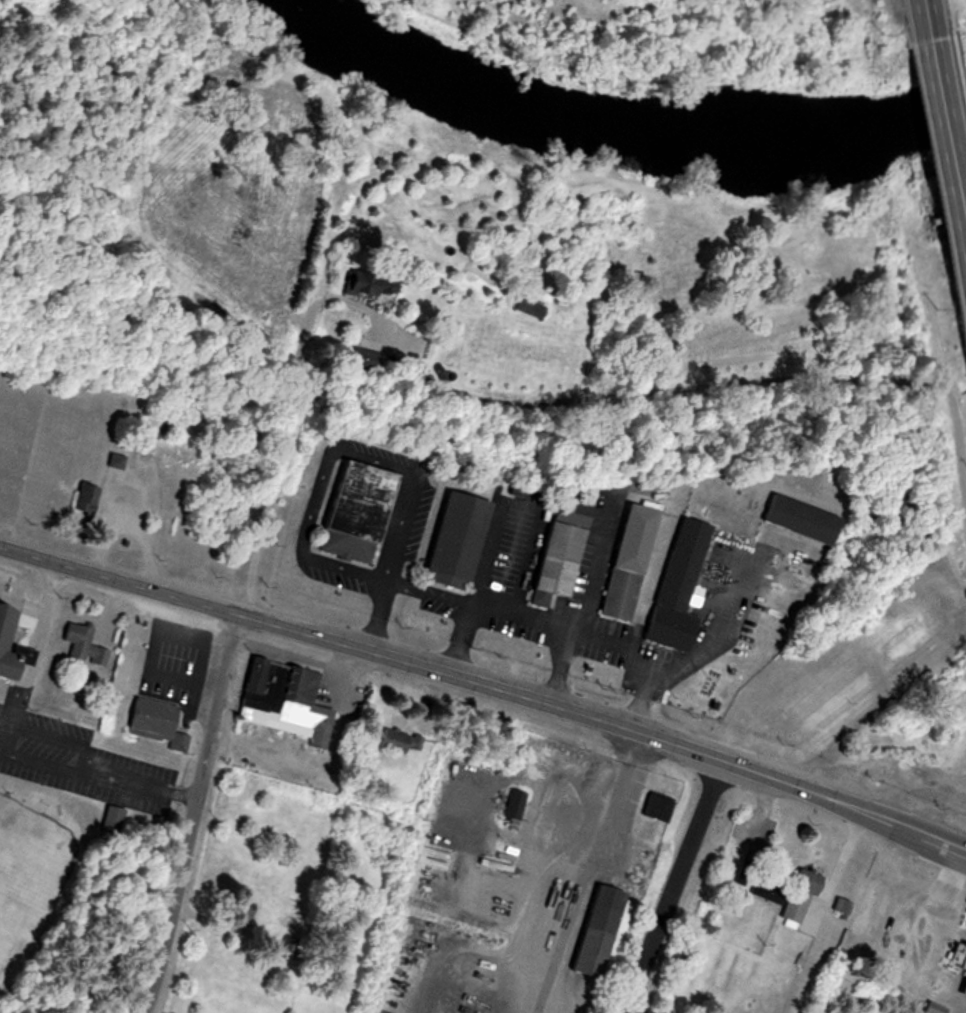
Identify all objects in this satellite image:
road: (919, 20)
river: (410, 69)
river: (756, 138)
road: (944, 139)
building: (364, 285)
building: (359, 357)
road: (662, 392)
building: (68, 493)
building: (89, 498)
building: (339, 507)
building: (782, 509)
building: (438, 534)
building: (544, 551)
building: (614, 555)
building: (661, 584)
building: (1, 604)
road: (519, 615)
building: (67, 636)
road: (457, 641)
building: (85, 642)
road: (37, 647)
building: (0, 652)
road: (224, 660)
road: (556, 667)
road: (486, 687)
building: (289, 699)
building: (136, 711)
building: (402, 739)
road: (52, 742)
road: (41, 768)
road: (136, 788)
building: (519, 801)
road: (670, 885)
building: (784, 894)
building: (835, 906)
building: (861, 906)
building: (604, 929)
road: (925, 935)
building: (952, 953)
building: (960, 969)

